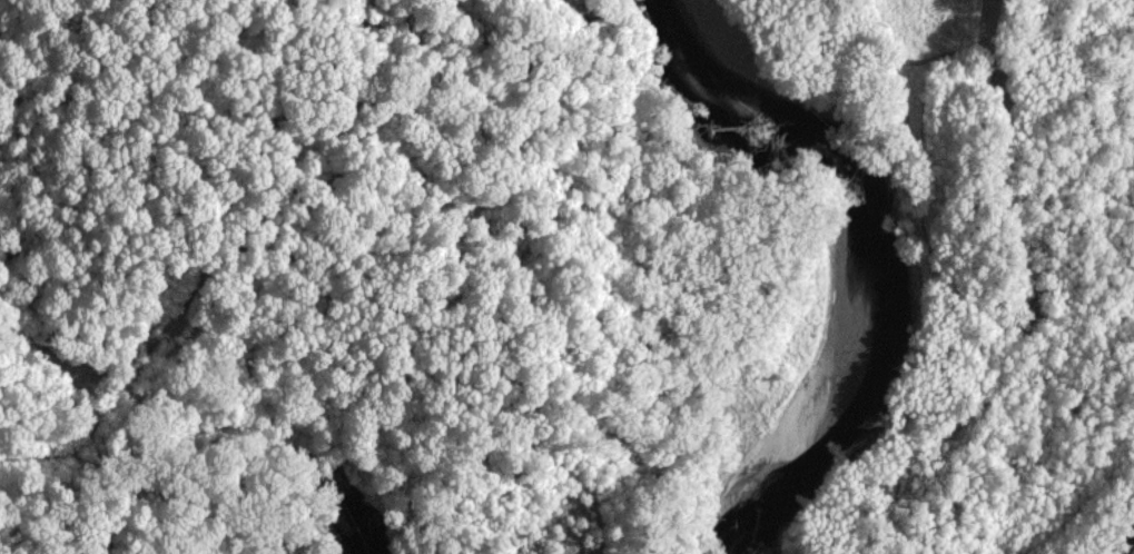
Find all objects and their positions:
river: (882, 244)
road: (1125, 544)

